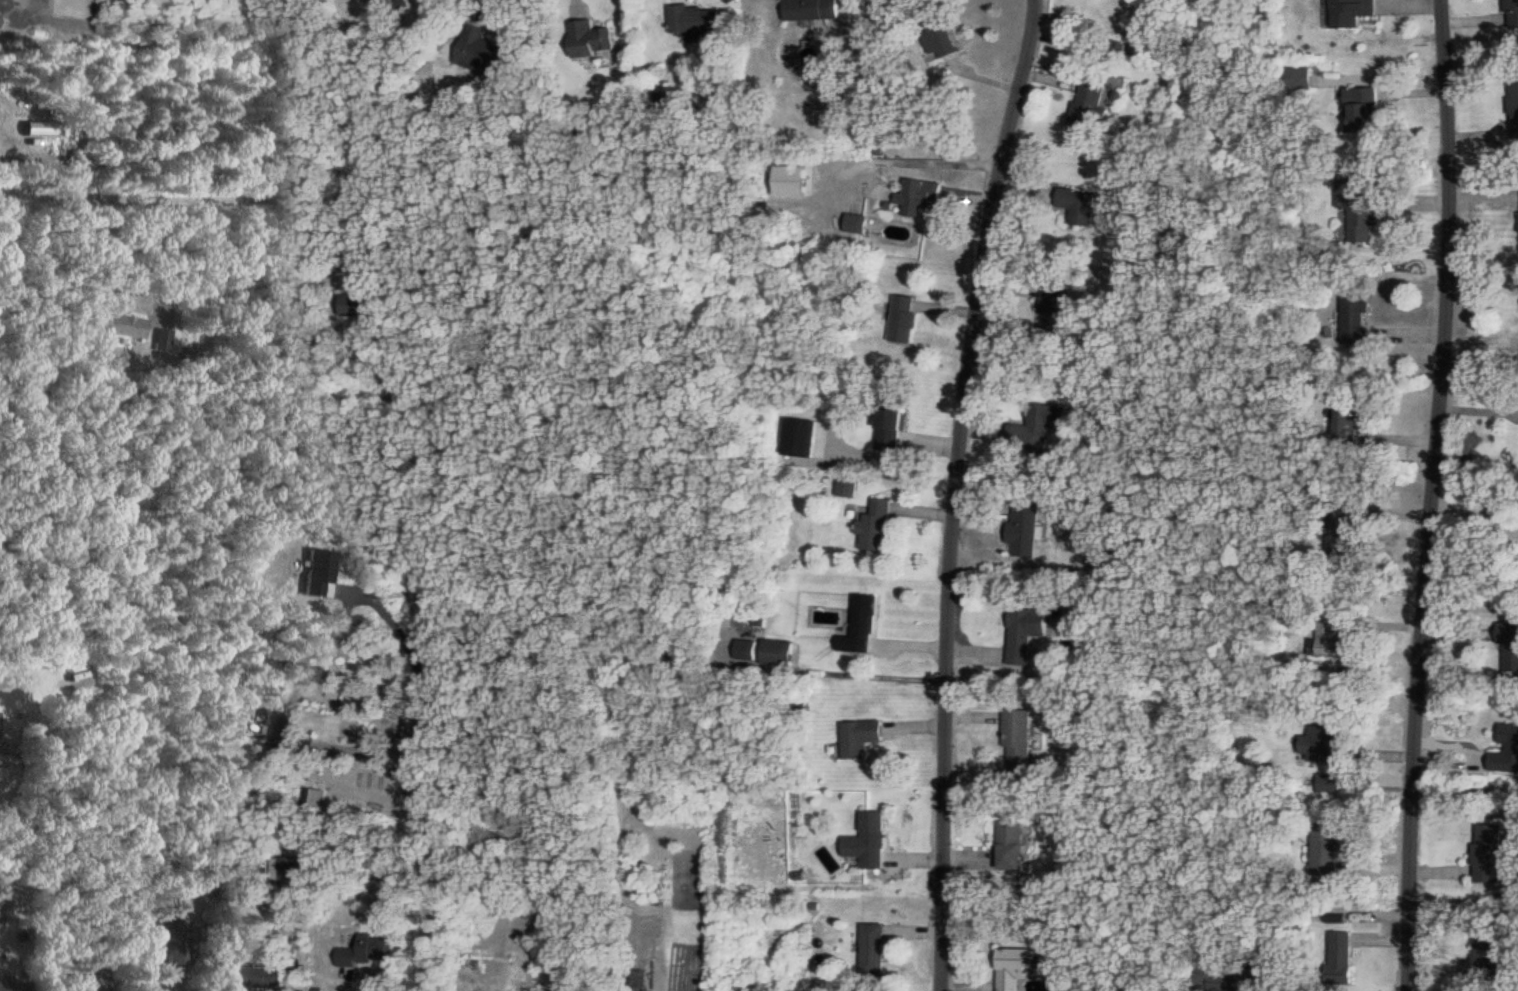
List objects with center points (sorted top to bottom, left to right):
building: (399, 4)
building: (812, 9)
building: (1352, 11)
building: (1512, 13)
building: (694, 18)
road: (20, 23)
building: (589, 39)
building: (934, 39)
building: (1129, 47)
building: (482, 53)
building: (1089, 106)
building: (1515, 106)
building: (1361, 107)
building: (919, 196)
road: (205, 197)
building: (1078, 205)
building: (1356, 210)
building: (856, 223)
road: (156, 263)
building: (359, 305)
building: (1052, 313)
building: (903, 318)
building: (1354, 319)
building: (125, 325)
building: (1036, 429)
building: (890, 430)
building: (846, 488)
road: (946, 491)
road: (1421, 495)
building: (875, 526)
building: (1342, 526)
building: (1025, 527)
building: (1267, 603)
building: (864, 623)
building: (1024, 633)
building: (1329, 638)
building: (1509, 646)
building: (778, 651)
road: (415, 659)
building: (278, 728)
building: (860, 737)
building: (1017, 739)
building: (1321, 743)
road: (380, 749)
building: (1506, 750)
building: (1329, 784)
building: (869, 840)
building: (1010, 844)
building: (1326, 848)
building: (1489, 852)
road: (420, 878)
building: (172, 941)
building: (871, 948)
building: (364, 950)
building: (1340, 955)
building: (1484, 959)
building: (1013, 966)
building: (251, 975)
building: (1228, 976)
building: (84, 982)
building: (13, 985)
road: (340, 985)

